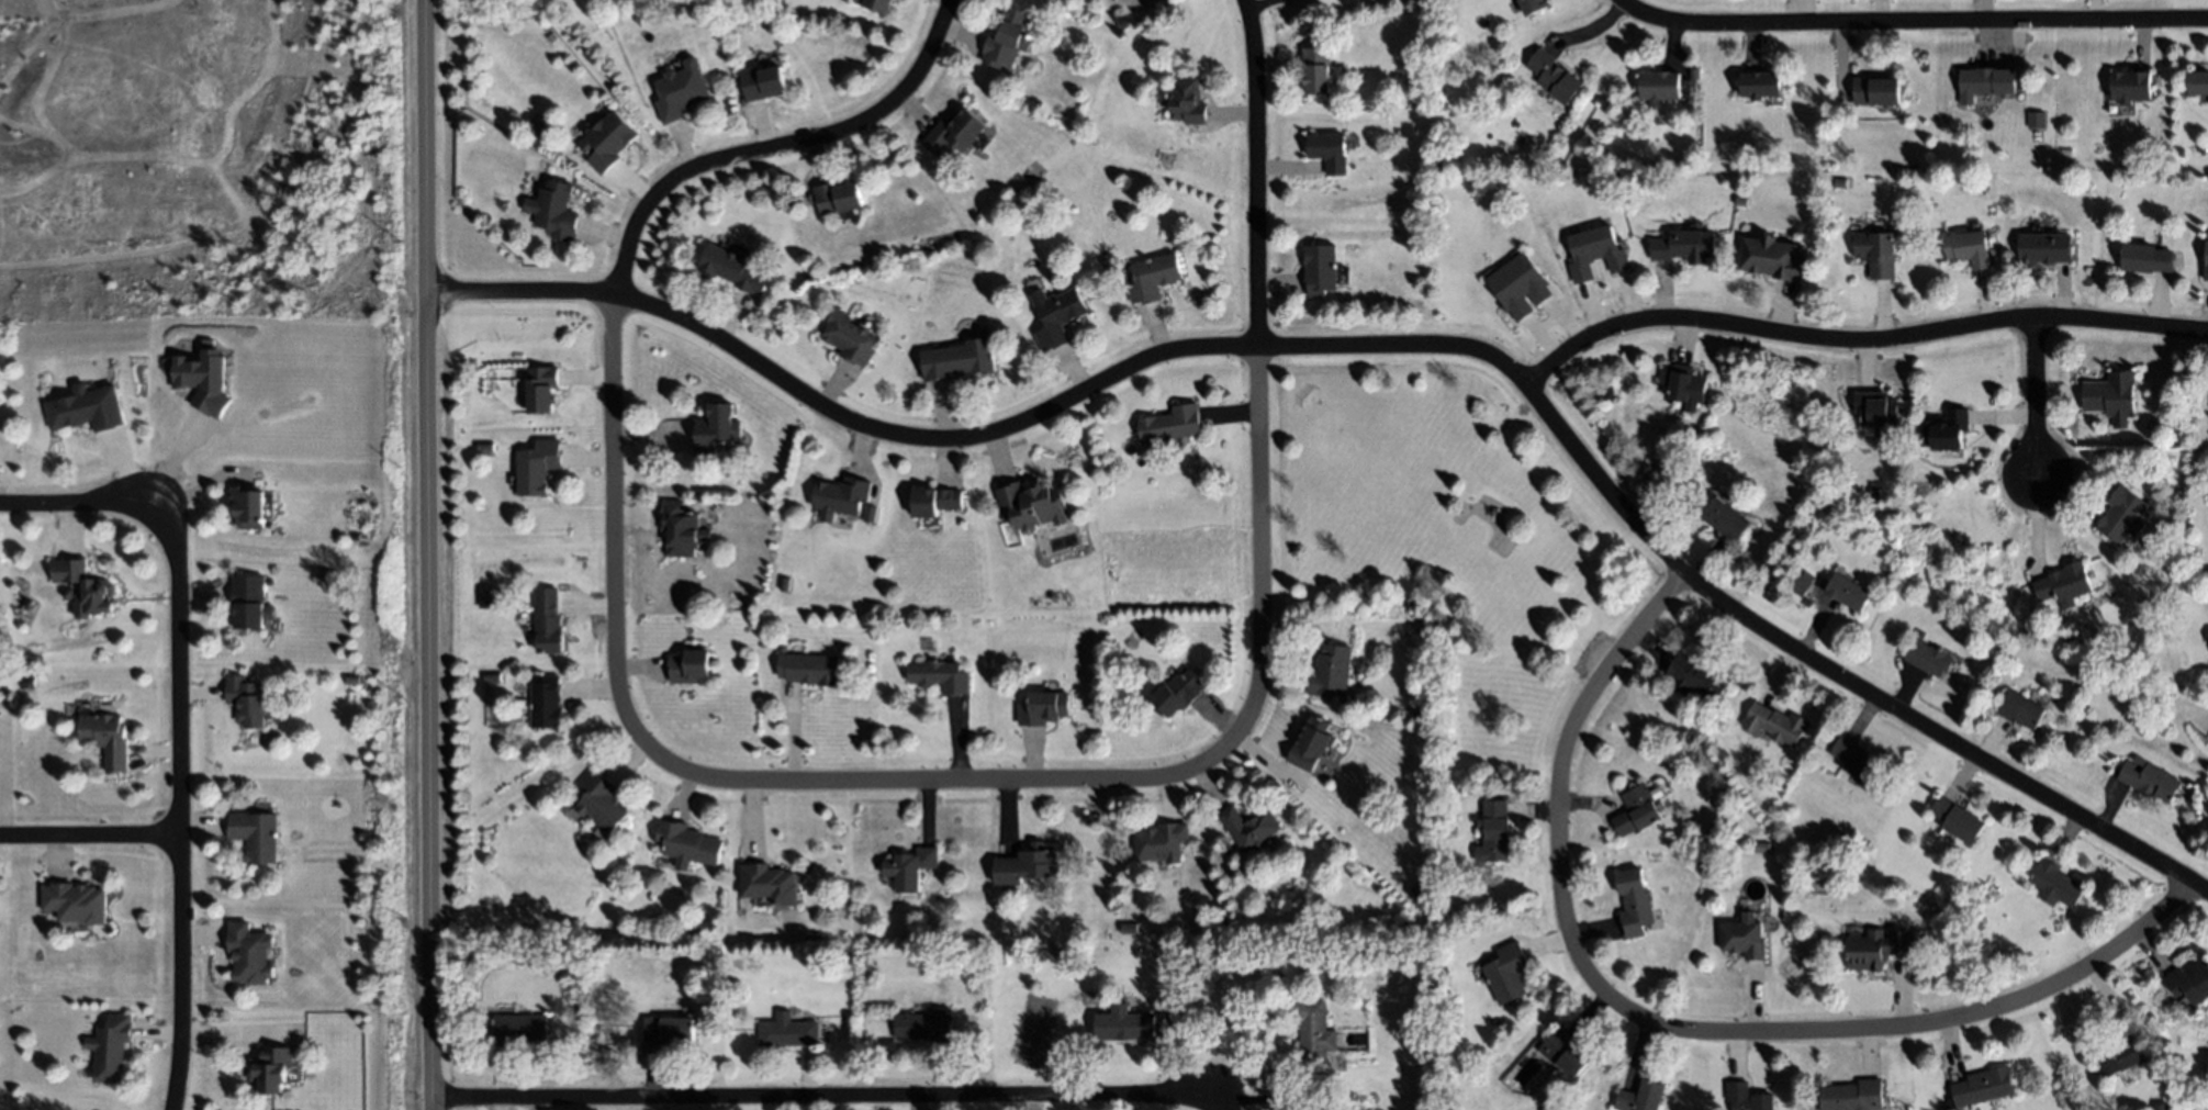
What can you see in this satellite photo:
building: (874, 4)
building: (1533, 5)
road: (1907, 24)
building: (1008, 37)
building: (1316, 68)
building: (1555, 75)
building: (1986, 80)
building: (763, 81)
building: (2197, 82)
building: (1658, 85)
building: (1759, 85)
building: (2129, 85)
building: (681, 90)
building: (1876, 90)
building: (1186, 101)
building: (2035, 120)
building: (955, 131)
building: (608, 141)
building: (1330, 150)
building: (2069, 152)
building: (1677, 164)
building: (2151, 176)
building: (1604, 181)
building: (1840, 182)
building: (838, 197)
building: (556, 209)
building: (1684, 246)
building: (1968, 248)
building: (2044, 248)
building: (739, 249)
building: (1594, 253)
building: (1876, 254)
building: (1771, 257)
building: (2145, 257)
building: (2206, 260)
building: (733, 268)
building: (1321, 270)
building: (1152, 278)
building: (1520, 285)
building: (1055, 315)
road: (1857, 337)
building: (850, 338)
road: (1385, 347)
building: (959, 359)
building: (203, 379)
building: (1683, 384)
building: (542, 388)
building: (1606, 391)
road: (2038, 395)
building: (2111, 395)
building: (1874, 407)
building: (86, 408)
building: (2172, 423)
building: (1170, 424)
building: (714, 426)
building: (1944, 429)
building: (538, 467)
building: (735, 472)
building: (1873, 492)
building: (841, 496)
road: (74, 500)
building: (935, 500)
building: (1031, 504)
building: (248, 506)
building: (873, 511)
building: (2122, 515)
building: (1725, 518)
building: (682, 529)
park: (1456, 538)
road: (428, 554)
building: (2063, 582)
building: (1800, 583)
building: (785, 584)
building: (82, 586)
building: (1847, 592)
building: (67, 594)
building: (248, 601)
building: (548, 621)
building: (2207, 630)
building: (1929, 658)
building: (690, 665)
building: (809, 668)
building: (1330, 671)
building: (940, 676)
building: (1697, 676)
building: (492, 677)
building: (1177, 692)
building: (246, 700)
building: (547, 702)
building: (1043, 708)
building: (2020, 708)
building: (1774, 724)
building: (108, 738)
building: (1311, 742)
building: (1856, 761)
building: (2149, 778)
road: (843, 782)
road: (183, 799)
building: (601, 800)
building: (1639, 808)
building: (1957, 819)
building: (1249, 826)
building: (1494, 832)
road: (92, 833)
building: (1712, 834)
building: (257, 836)
building: (687, 841)
building: (1161, 842)
building: (1761, 846)
building: (1027, 865)
building: (910, 866)
building: (767, 882)
building: (2053, 883)
building: (1634, 901)
building: (75, 902)
building: (1129, 928)
building: (691, 929)
building: (1742, 939)
building: (1876, 948)
building: (250, 954)
building: (1508, 972)
building: (2189, 980)
building: (1124, 1023)
building: (926, 1025)
building: (518, 1028)
road: (1681, 1030)
building: (668, 1031)
building: (786, 1031)
building: (1313, 1035)
building: (111, 1047)
building: (1563, 1052)
building: (2120, 1057)
building: (272, 1069)
building: (1982, 1087)
building: (1851, 1096)
road: (819, 1097)
building: (1640, 1097)
building: (1748, 1097)
building: (2162, 1106)
road: (1206, 1108)

